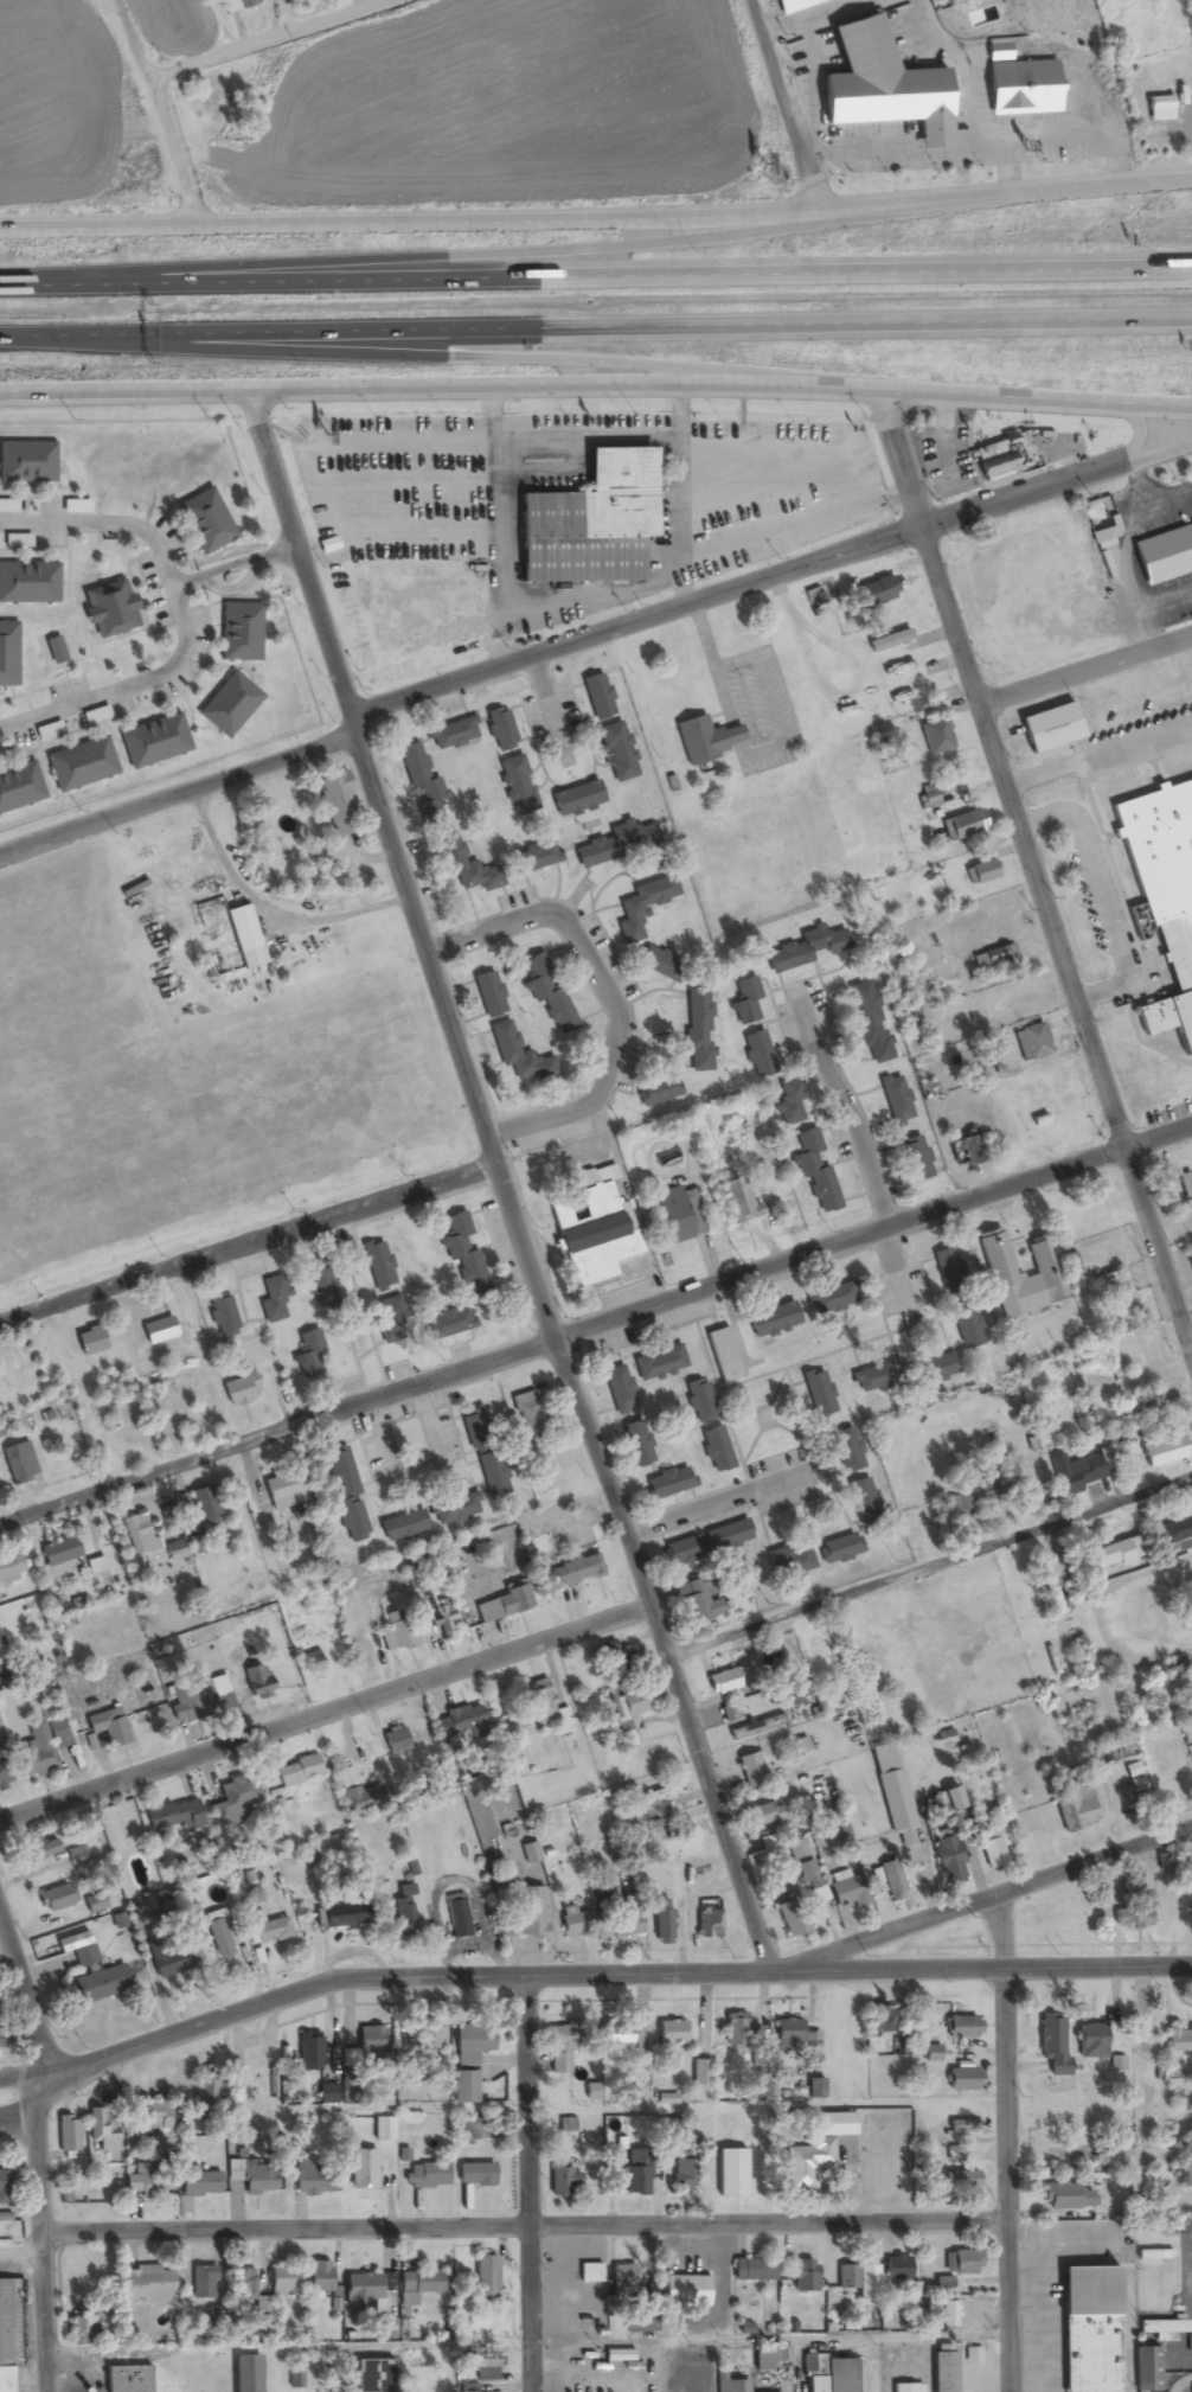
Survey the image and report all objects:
building: (237, 5)
building: (793, 5)
road: (276, 41)
building: (882, 88)
building: (1020, 89)
road: (777, 105)
building: (1159, 109)
road: (160, 114)
road: (596, 220)
road: (546, 251)
road: (596, 281)
road: (595, 327)
road: (472, 359)
road: (596, 388)
road: (1136, 434)
road: (1160, 450)
building: (28, 453)
building: (998, 459)
building: (209, 512)
building: (596, 513)
building: (1165, 545)
road: (232, 565)
building: (31, 573)
road: (738, 586)
road: (236, 587)
building: (876, 593)
building: (114, 600)
road: (179, 615)
building: (245, 623)
building: (57, 641)
building: (889, 641)
building: (9, 645)
road: (1084, 665)
building: (232, 696)
building: (597, 699)
building: (1055, 717)
building: (500, 730)
building: (49, 731)
building: (158, 734)
building: (453, 736)
building: (935, 736)
building: (706, 740)
building: (617, 753)
building: (82, 756)
building: (20, 778)
building: (517, 786)
road: (179, 794)
building: (576, 800)
building: (334, 801)
building: (965, 824)
building: (442, 826)
building: (617, 845)
building: (537, 858)
building: (981, 872)
road: (1032, 872)
building: (1165, 880)
building: (630, 915)
building: (243, 939)
building: (805, 951)
building: (994, 960)
building: (656, 964)
road: (608, 992)
building: (547, 993)
building: (489, 997)
building: (745, 1003)
building: (869, 1024)
building: (697, 1031)
building: (1031, 1043)
building: (517, 1056)
building: (758, 1056)
building: (895, 1100)
building: (792, 1104)
building: (972, 1149)
building: (915, 1158)
building: (814, 1169)
road: (502, 1182)
building: (1186, 1192)
building: (737, 1201)
building: (672, 1215)
building: (591, 1227)
road: (249, 1248)
building: (462, 1248)
building: (377, 1265)
building: (948, 1271)
building: (1021, 1274)
building: (318, 1281)
building: (273, 1300)
building: (828, 1300)
building: (222, 1316)
building: (387, 1316)
building: (771, 1320)
building: (448, 1324)
road: (597, 1324)
building: (158, 1331)
building: (89, 1342)
road: (1191, 1349)
building: (308, 1355)
building: (723, 1355)
building: (659, 1363)
building: (931, 1370)
building: (876, 1377)
building: (239, 1387)
building: (617, 1389)
building: (816, 1394)
building: (699, 1401)
building: (1148, 1402)
building: (527, 1414)
building: (474, 1430)
building: (636, 1445)
building: (716, 1450)
building: (846, 1450)
building: (1164, 1451)
building: (15, 1464)
building: (1081, 1469)
building: (492, 1477)
building: (667, 1484)
building: (283, 1491)
building: (861, 1498)
building: (348, 1499)
building: (201, 1504)
building: (456, 1509)
building: (577, 1526)
building: (402, 1527)
building: (1172, 1531)
building: (139, 1535)
building: (729, 1536)
building: (838, 1549)
building: (174, 1550)
building: (681, 1552)
building: (1108, 1552)
building: (59, 1553)
building: (793, 1561)
building: (94, 1566)
building: (11, 1571)
road: (928, 1571)
building: (575, 1572)
building: (1053, 1585)
building: (696, 1603)
building: (504, 1604)
building: (437, 1616)
building: (395, 1631)
building: (816, 1652)
building: (615, 1657)
building: (313, 1664)
building: (1171, 1667)
building: (256, 1682)
building: (723, 1682)
building: (200, 1696)
building: (629, 1702)
building: (545, 1706)
road: (322, 1712)
building: (728, 1713)
building: (459, 1721)
building: (756, 1727)
building: (395, 1741)
building: (36, 1752)
building: (1113, 1753)
building: (751, 1770)
building: (299, 1771)
building: (892, 1790)
building: (355, 1795)
building: (235, 1798)
building: (951, 1799)
building: (654, 1802)
building: (1076, 1810)
building: (761, 1815)
building: (177, 1816)
building: (675, 1830)
building: (991, 1848)
building: (37, 1849)
building: (530, 1853)
building: (797, 1859)
building: (949, 1865)
building: (891, 1881)
building: (841, 1888)
building: (55, 1899)
road: (980, 1900)
building: (404, 1911)
building: (525, 1914)
building: (337, 1917)
building: (457, 1917)
building: (790, 1918)
building: (1130, 1918)
building: (578, 1921)
building: (661, 1921)
building: (707, 1924)
building: (624, 1925)
building: (268, 1929)
building: (219, 1939)
building: (77, 1949)
road: (603, 1975)
building: (101, 1984)
road: (26, 1997)
building: (882, 2021)
building: (961, 2027)
building: (735, 2030)
building: (786, 2032)
building: (669, 2033)
building: (428, 2035)
building: (615, 2035)
building: (1090, 2041)
building: (1179, 2041)
building: (472, 2044)
building: (1052, 2044)
building: (370, 2045)
building: (559, 2051)
building: (309, 2052)
building: (700, 2074)
building: (962, 2079)
road: (17, 2081)
building: (256, 2085)
building: (463, 2087)
building: (814, 2087)
building: (206, 2090)
building: (327, 2093)
road: (640, 2105)
road: (20, 2106)
building: (154, 2116)
building: (963, 2128)
building: (383, 2129)
building: (103, 2130)
building: (674, 2130)
building: (69, 2141)
road: (1006, 2142)
building: (815, 2150)
building: (363, 2169)
building: (636, 2172)
building: (682, 2174)
building: (254, 2175)
building: (474, 2175)
building: (427, 2176)
building: (314, 2177)
building: (961, 2180)
building: (145, 2181)
building: (564, 2181)
building: (199, 2183)
road: (527, 2183)
building: (2, 2188)
building: (1066, 2198)
road: (501, 2228)
road: (43, 2239)
building: (960, 2263)
building: (896, 2268)
building: (754, 2270)
building: (589, 2273)
building: (803, 2276)
building: (850, 2277)
building: (485, 2278)
building: (318, 2279)
building: (622, 2279)
building: (283, 2282)
building: (203, 2283)
building: (421, 2283)
building: (147, 2285)
building: (685, 2291)
building: (358, 2292)
building: (947, 2315)
building: (83, 2324)
building: (640, 2324)
building: (1089, 2329)
building: (1161, 2329)
building: (5, 2337)
building: (617, 2356)
building: (486, 2369)
building: (1145, 2369)
building: (831, 2372)
building: (942, 2372)
building: (245, 2374)
building: (294, 2375)
building: (373, 2375)
building: (126, 2379)
building: (442, 2379)
building: (737, 2386)
building: (906, 2387)
building: (1191, 2390)

